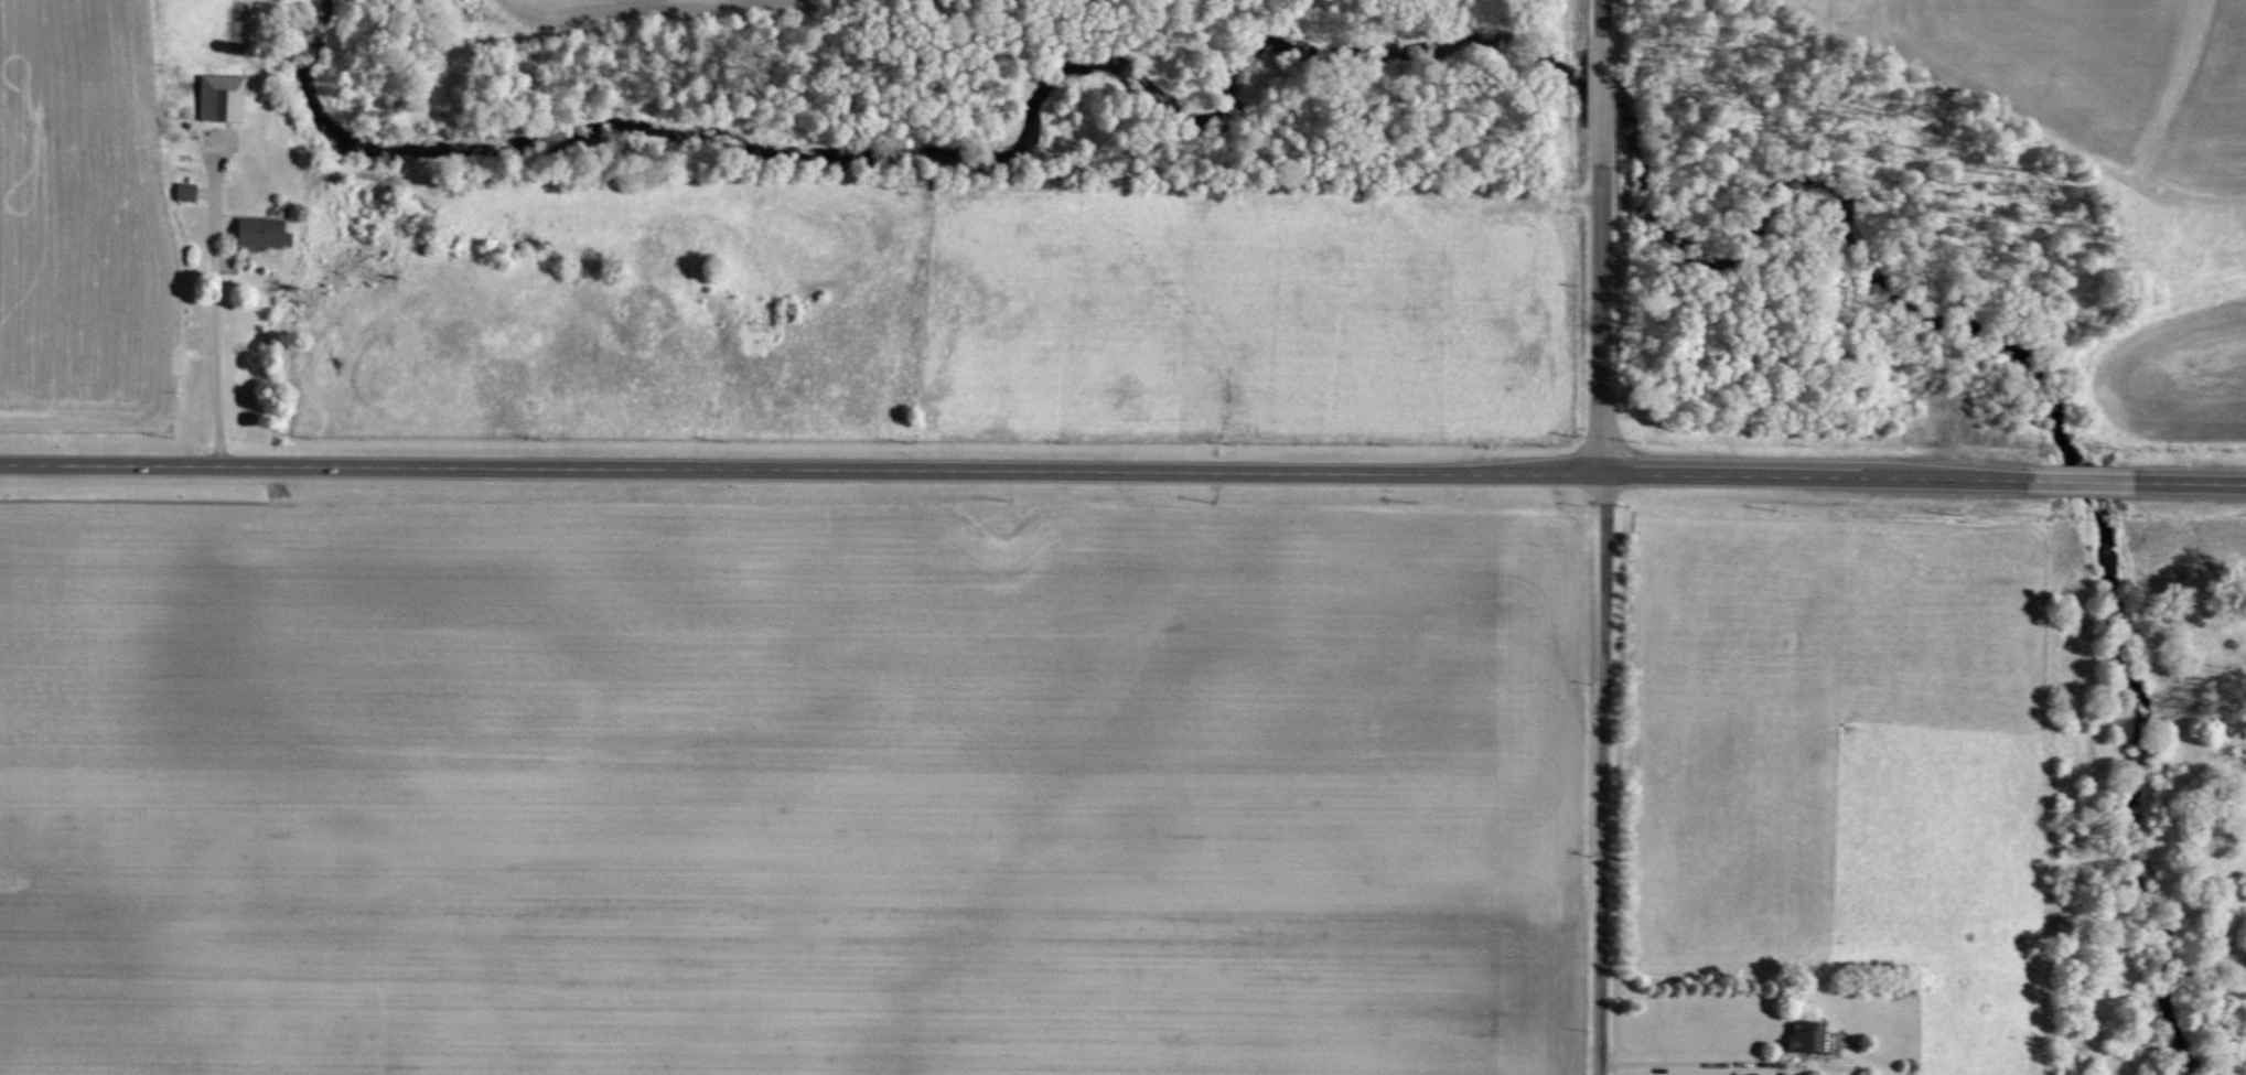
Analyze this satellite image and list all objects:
building: (218, 98)
building: (183, 192)
building: (259, 233)
road: (217, 362)
road: (1122, 470)
road: (1595, 537)
road: (1687, 1063)

